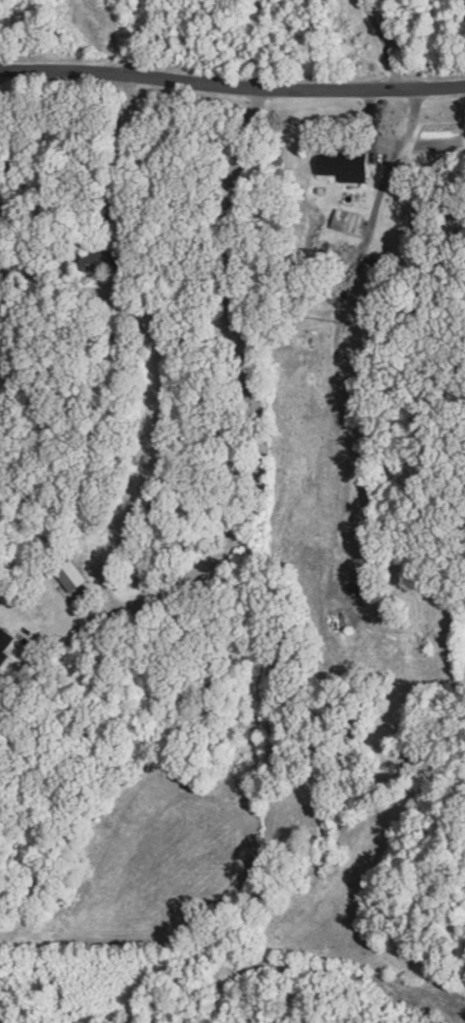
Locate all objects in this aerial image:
road: (232, 86)
building: (344, 165)
building: (348, 223)
building: (103, 262)
building: (6, 657)

